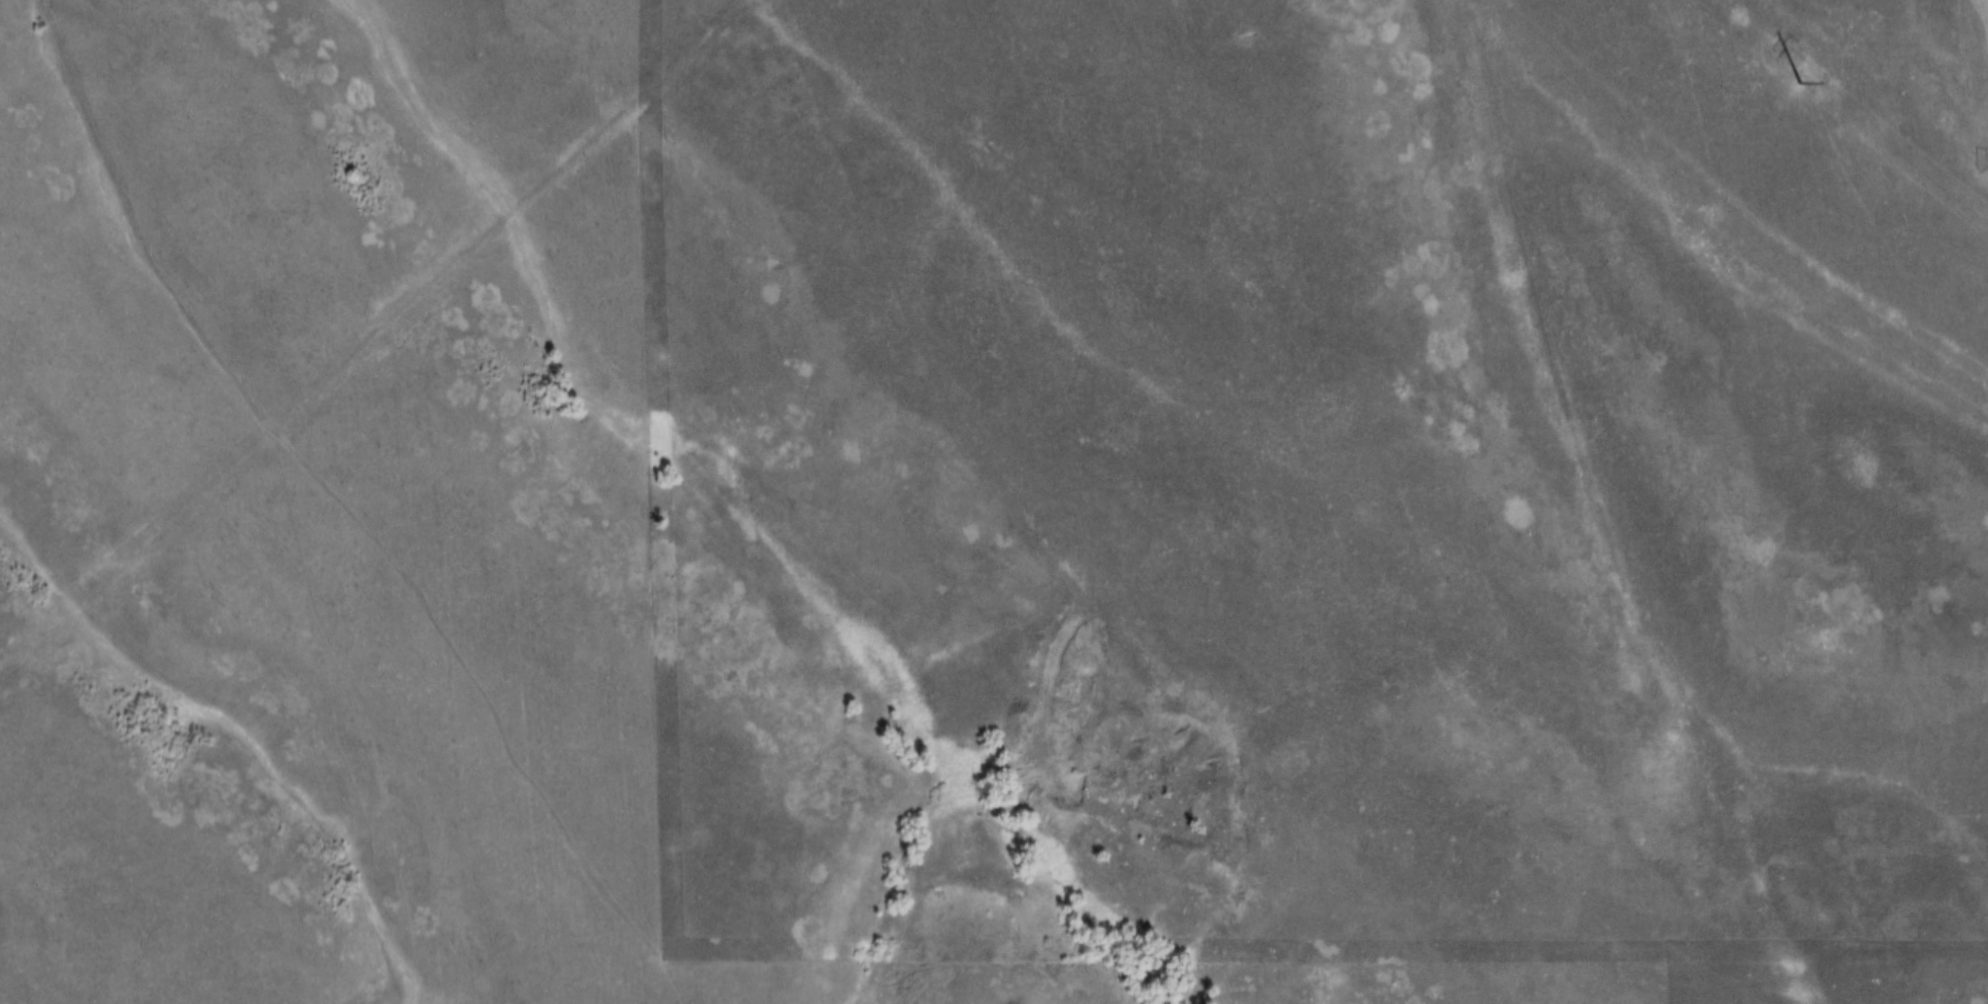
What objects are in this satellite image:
road: (1985, 5)
power tower: (1799, 81)

